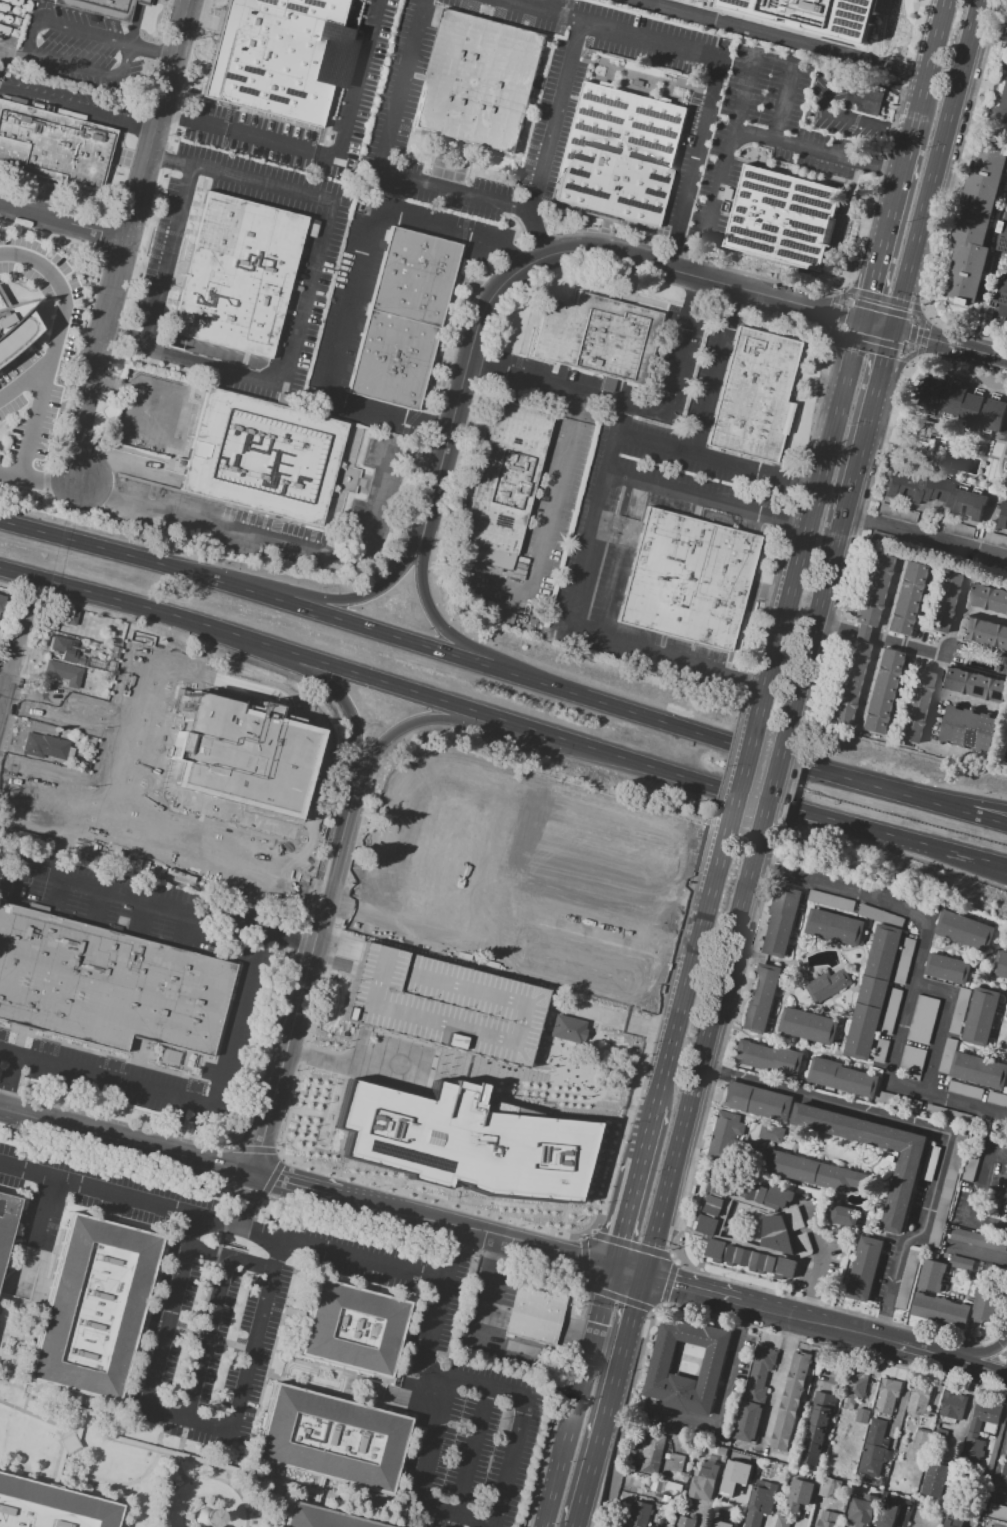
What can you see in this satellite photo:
building: (101, 8)
building: (830, 13)
road: (135, 22)
building: (1006, 29)
road: (788, 35)
road: (986, 44)
road: (28, 49)
road: (932, 49)
road: (151, 52)
building: (263, 55)
road: (714, 57)
building: (480, 81)
road: (830, 92)
building: (1000, 94)
building: (865, 97)
road: (61, 103)
road: (552, 116)
road: (156, 118)
road: (173, 118)
road: (914, 119)
road: (139, 121)
road: (977, 127)
road: (744, 131)
building: (54, 143)
road: (336, 152)
road: (905, 156)
building: (619, 157)
road: (167, 160)
road: (378, 160)
road: (935, 164)
road: (260, 185)
road: (1004, 198)
building: (785, 218)
building: (975, 220)
road: (63, 222)
road: (537, 234)
building: (1003, 236)
road: (881, 246)
road: (513, 254)
road: (990, 261)
road: (646, 263)
parking lot: (7, 264)
road: (998, 269)
building: (238, 273)
road: (354, 278)
road: (840, 289)
building: (1001, 292)
road: (883, 297)
road: (827, 311)
road: (829, 312)
road: (1001, 312)
road: (925, 313)
building: (403, 319)
traffic signals: (862, 321)
road: (878, 325)
parking lot: (1001, 325)
building: (14, 326)
traffic signals: (895, 329)
road: (825, 335)
road: (922, 337)
road: (924, 337)
road: (125, 338)
building: (599, 339)
road: (681, 346)
road: (869, 349)
road: (981, 352)
road: (52, 357)
road: (913, 359)
road: (887, 361)
road: (97, 363)
road: (213, 368)
road: (712, 369)
road: (25, 380)
road: (564, 388)
building: (930, 392)
building: (754, 397)
road: (455, 407)
building: (980, 411)
building: (922, 437)
road: (654, 442)
building: (263, 457)
road: (862, 463)
road: (754, 468)
building: (507, 477)
building: (1006, 478)
road: (49, 485)
building: (934, 493)
road: (706, 500)
building: (896, 513)
road: (595, 515)
road: (548, 516)
building: (1003, 516)
road: (807, 522)
road: (787, 523)
building: (955, 530)
road: (927, 539)
building: (995, 539)
road: (298, 551)
building: (687, 580)
building: (988, 598)
building: (901, 599)
road: (344, 600)
building: (1, 602)
building: (938, 602)
road: (138, 606)
road: (431, 613)
road: (982, 613)
building: (64, 615)
building: (499, 616)
building: (79, 622)
road: (836, 628)
building: (984, 631)
road: (816, 633)
road: (859, 634)
building: (115, 637)
building: (856, 639)
building: (114, 642)
building: (92, 644)
road: (874, 645)
road: (904, 646)
building: (64, 649)
building: (113, 652)
road: (665, 655)
road: (459, 656)
building: (80, 660)
road: (15, 662)
building: (63, 673)
building: (977, 683)
road: (3, 692)
building: (876, 692)
road: (933, 694)
road: (342, 699)
road: (966, 702)
building: (910, 707)
road: (443, 718)
building: (969, 728)
building: (46, 746)
building: (241, 754)
road: (639, 763)
road: (723, 765)
road: (742, 777)
road: (777, 788)
road: (962, 802)
road: (962, 811)
building: (144, 814)
building: (614, 828)
road: (142, 849)
building: (444, 856)
road: (978, 863)
road: (125, 891)
road: (59, 893)
building: (831, 901)
road: (99, 904)
road: (143, 915)
building: (880, 915)
road: (925, 916)
building: (781, 921)
road: (704, 922)
road: (188, 926)
building: (834, 927)
building: (965, 931)
road: (288, 934)
road: (308, 960)
building: (904, 961)
building: (578, 965)
building: (1001, 966)
building: (947, 969)
building: (70, 979)
building: (827, 985)
building: (872, 991)
building: (762, 1000)
building: (184, 1001)
building: (441, 1004)
parking lot: (441, 1004)
building: (959, 1011)
building: (891, 1012)
building: (1006, 1014)
building: (981, 1016)
building: (922, 1019)
building: (808, 1026)
road: (940, 1026)
building: (564, 1028)
road: (651, 1034)
building: (880, 1051)
building: (947, 1056)
building: (768, 1058)
building: (912, 1059)
road: (706, 1060)
road: (351, 1064)
road: (666, 1071)
building: (978, 1071)
building: (842, 1078)
building: (965, 1091)
building: (882, 1097)
building: (996, 1099)
road: (947, 1100)
building: (756, 1101)
building: (914, 1106)
road: (197, 1107)
building: (948, 1115)
road: (92, 1130)
road: (933, 1130)
building: (769, 1132)
building: (725, 1135)
building: (461, 1142)
road: (256, 1155)
road: (998, 1158)
road: (218, 1162)
building: (930, 1163)
building: (971, 1165)
road: (986, 1168)
road: (284, 1169)
building: (808, 1171)
road: (293, 1182)
road: (98, 1187)
building: (948, 1190)
building: (901, 1192)
road: (993, 1195)
road: (340, 1196)
building: (780, 1196)
road: (632, 1198)
road: (370, 1202)
road: (45, 1212)
building: (844, 1216)
building: (711, 1218)
road: (241, 1219)
building: (795, 1219)
building: (6, 1220)
road: (990, 1224)
road: (462, 1226)
building: (53, 1230)
building: (776, 1235)
building: (711, 1238)
building: (979, 1240)
road: (630, 1243)
building: (803, 1245)
road: (209, 1251)
road: (570, 1255)
building: (751, 1260)
road: (823, 1262)
traffic signals: (612, 1268)
building: (864, 1270)
road: (628, 1273)
traffic signals: (644, 1278)
building: (908, 1278)
road: (668, 1283)
road: (593, 1289)
road: (691, 1291)
building: (920, 1292)
building: (988, 1294)
building: (93, 1307)
building: (535, 1307)
road: (813, 1321)
building: (351, 1329)
road: (428, 1340)
road: (643, 1346)
road: (910, 1347)
road: (972, 1353)
building: (661, 1360)
building: (763, 1360)
road: (250, 1361)
road: (970, 1363)
road: (738, 1366)
building: (855, 1386)
road: (778, 1387)
building: (756, 1388)
building: (888, 1395)
road: (579, 1397)
building: (918, 1400)
road: (609, 1401)
building: (791, 1401)
road: (900, 1404)
building: (953, 1405)
road: (148, 1406)
road: (33, 1414)
building: (861, 1414)
building: (984, 1414)
building: (746, 1421)
building: (815, 1430)
road: (159, 1431)
building: (937, 1438)
building: (330, 1439)
building: (653, 1443)
building: (972, 1447)
road: (178, 1448)
building: (872, 1449)
building: (721, 1451)
road: (617, 1454)
road: (186, 1458)
building: (779, 1458)
building: (649, 1461)
building: (676, 1463)
building: (901, 1463)
road: (997, 1466)
building: (1004, 1470)
road: (201, 1476)
building: (734, 1476)
building: (935, 1479)
road: (114, 1482)
building: (704, 1483)
building: (830, 1487)
building: (666, 1488)
building: (800, 1493)
building: (667, 1500)
building: (761, 1502)
building: (677, 1504)
building: (50, 1507)
building: (725, 1507)
building: (861, 1510)
building: (997, 1512)
building: (639, 1513)
road: (436, 1516)
building: (888, 1516)
water tower: (205, 1518)
building: (318, 1518)
building: (736, 1518)
building: (829, 1519)
building: (719, 1521)
building: (782, 1521)
building: (686, 1522)
building: (947, 1523)

